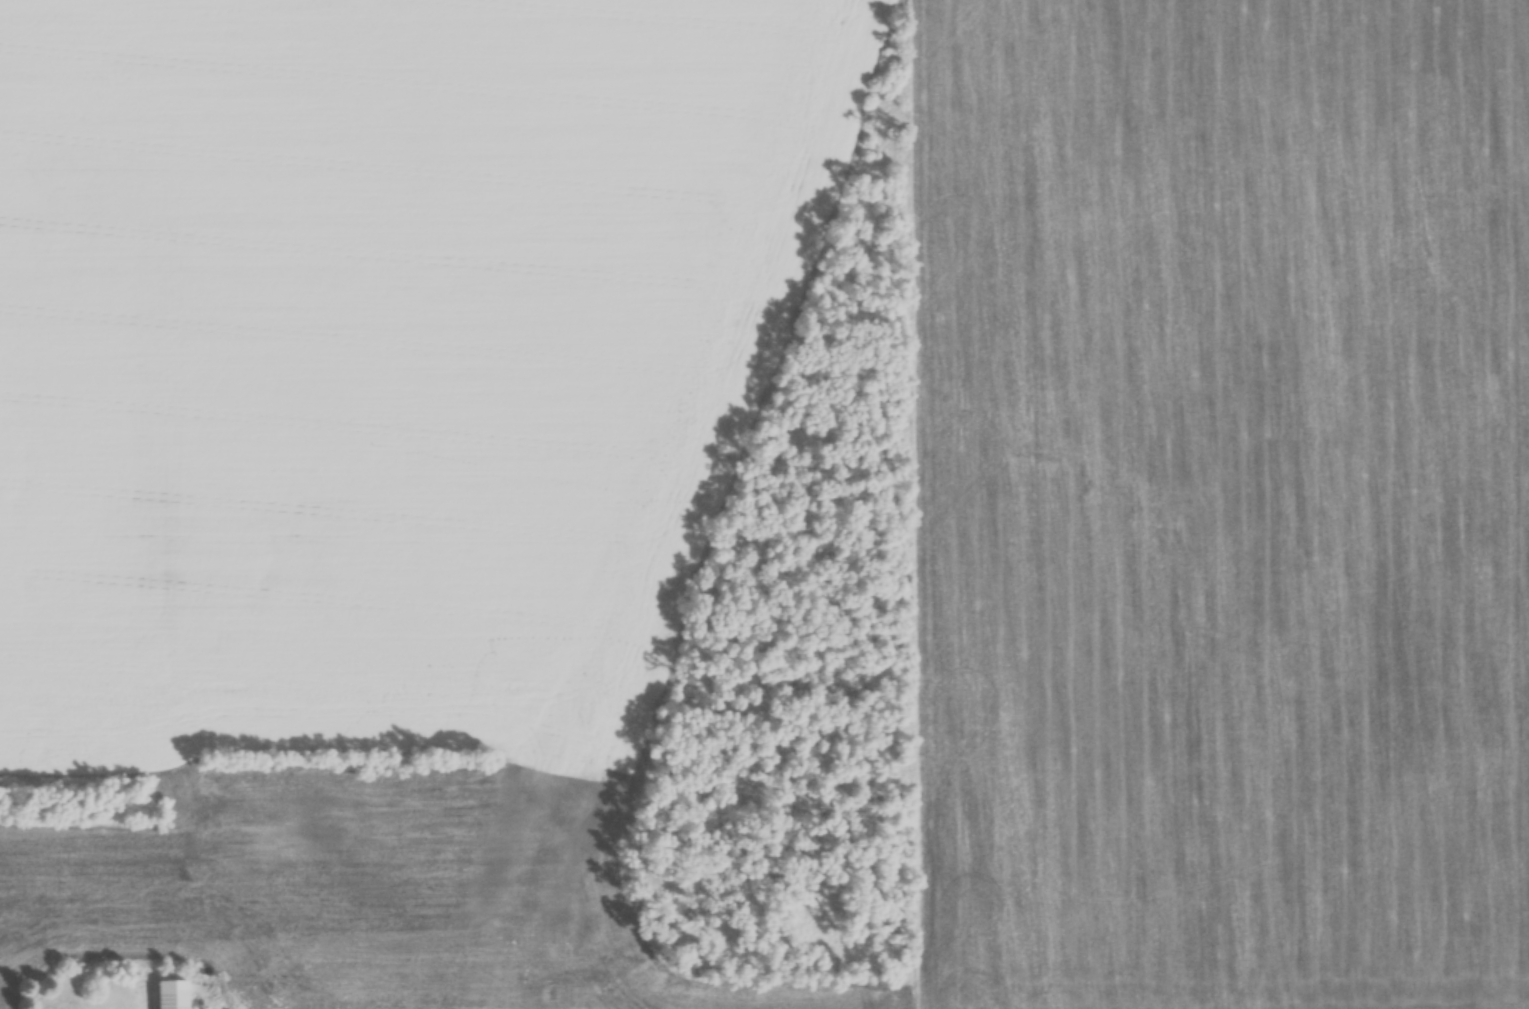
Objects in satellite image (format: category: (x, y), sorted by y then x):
building: (171, 994)

